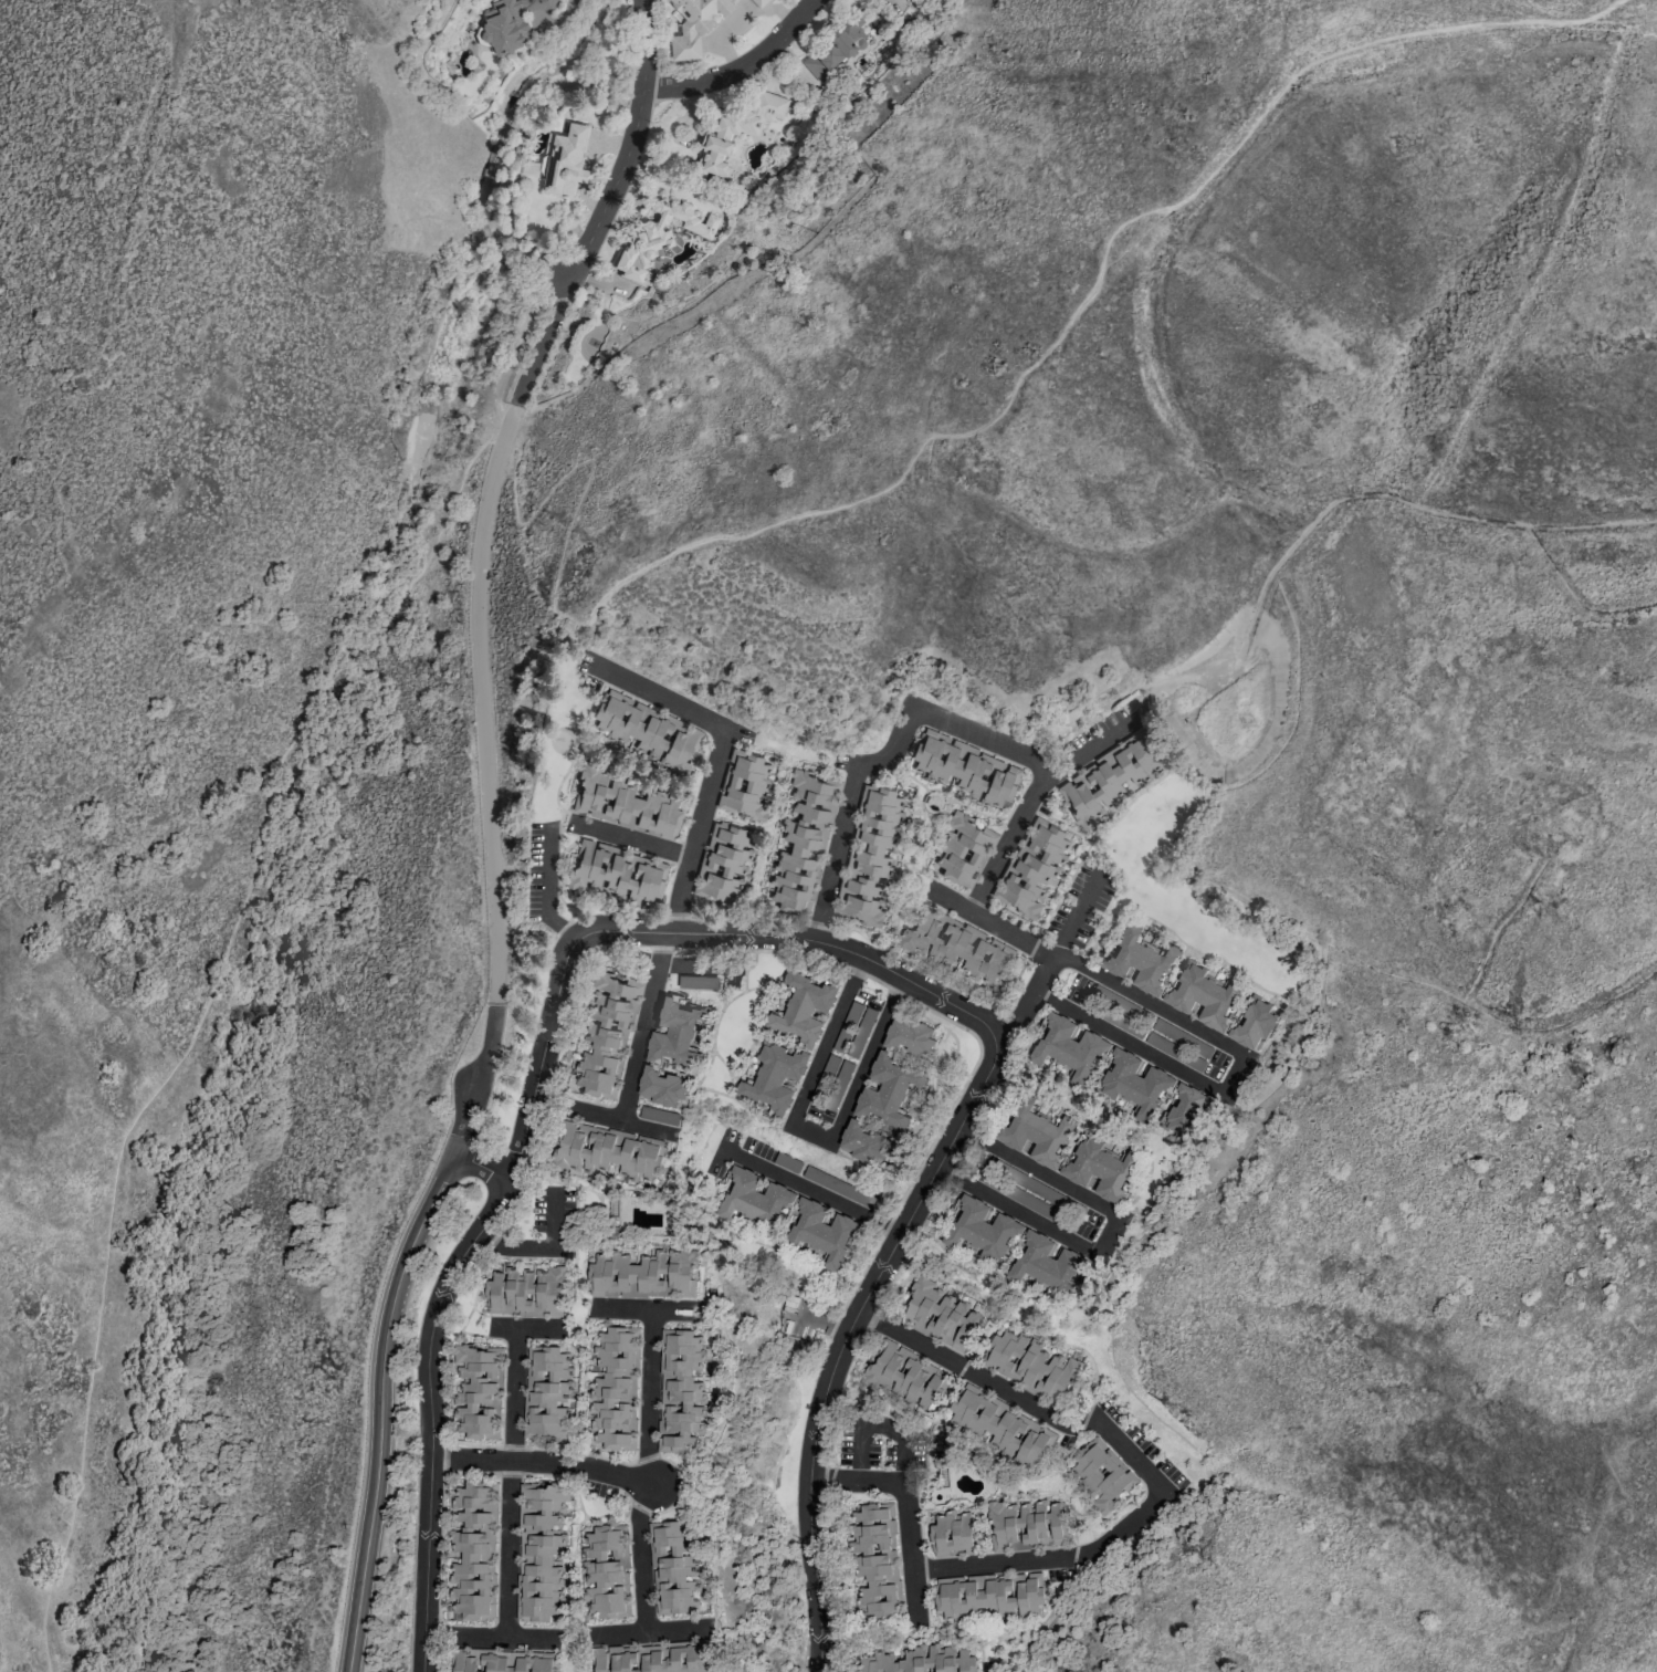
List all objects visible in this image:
building: (758, 2)
building: (508, 22)
building: (693, 24)
building: (832, 48)
road: (738, 66)
building: (716, 135)
building: (564, 161)
building: (658, 236)
road: (979, 428)
road: (490, 487)
building: (646, 732)
road: (1083, 753)
road: (719, 759)
road: (885, 761)
building: (962, 770)
building: (1108, 778)
building: (745, 785)
building: (626, 802)
road: (629, 840)
building: (799, 840)
road: (1007, 848)
building: (961, 849)
building: (869, 856)
building: (724, 864)
building: (1031, 869)
building: (613, 872)
road: (548, 889)
road: (682, 932)
building: (954, 947)
road: (1049, 959)
road: (1089, 970)
building: (689, 980)
building: (1187, 989)
building: (1108, 1006)
road: (207, 1009)
road: (641, 1027)
building: (854, 1030)
building: (677, 1031)
building: (605, 1034)
building: (910, 1036)
building: (806, 1047)
road: (1142, 1053)
building: (1119, 1074)
road: (478, 1077)
building: (661, 1086)
building: (888, 1091)
road: (824, 1131)
building: (1035, 1136)
building: (864, 1145)
building: (607, 1152)
road: (481, 1166)
building: (1100, 1170)
road: (810, 1191)
building: (763, 1220)
road: (1114, 1233)
building: (990, 1245)
road: (536, 1248)
building: (643, 1272)
building: (525, 1290)
road: (648, 1307)
building: (937, 1313)
road: (822, 1324)
road: (503, 1328)
road: (838, 1349)
building: (1030, 1363)
road: (511, 1376)
building: (902, 1378)
building: (479, 1391)
building: (683, 1391)
building: (613, 1392)
building: (548, 1393)
road: (649, 1394)
road: (380, 1405)
road: (431, 1415)
road: (885, 1424)
building: (999, 1429)
road: (544, 1465)
building: (1098, 1474)
building: (1014, 1524)
building: (1056, 1524)
road: (1129, 1524)
building: (951, 1535)
building: (473, 1551)
building: (543, 1553)
road: (640, 1555)
building: (873, 1563)
building: (674, 1568)
building: (606, 1572)
road: (503, 1575)
building: (988, 1598)
road: (650, 1630)
road: (480, 1637)
building: (914, 1660)
building: (658, 1661)
building: (504, 1663)

